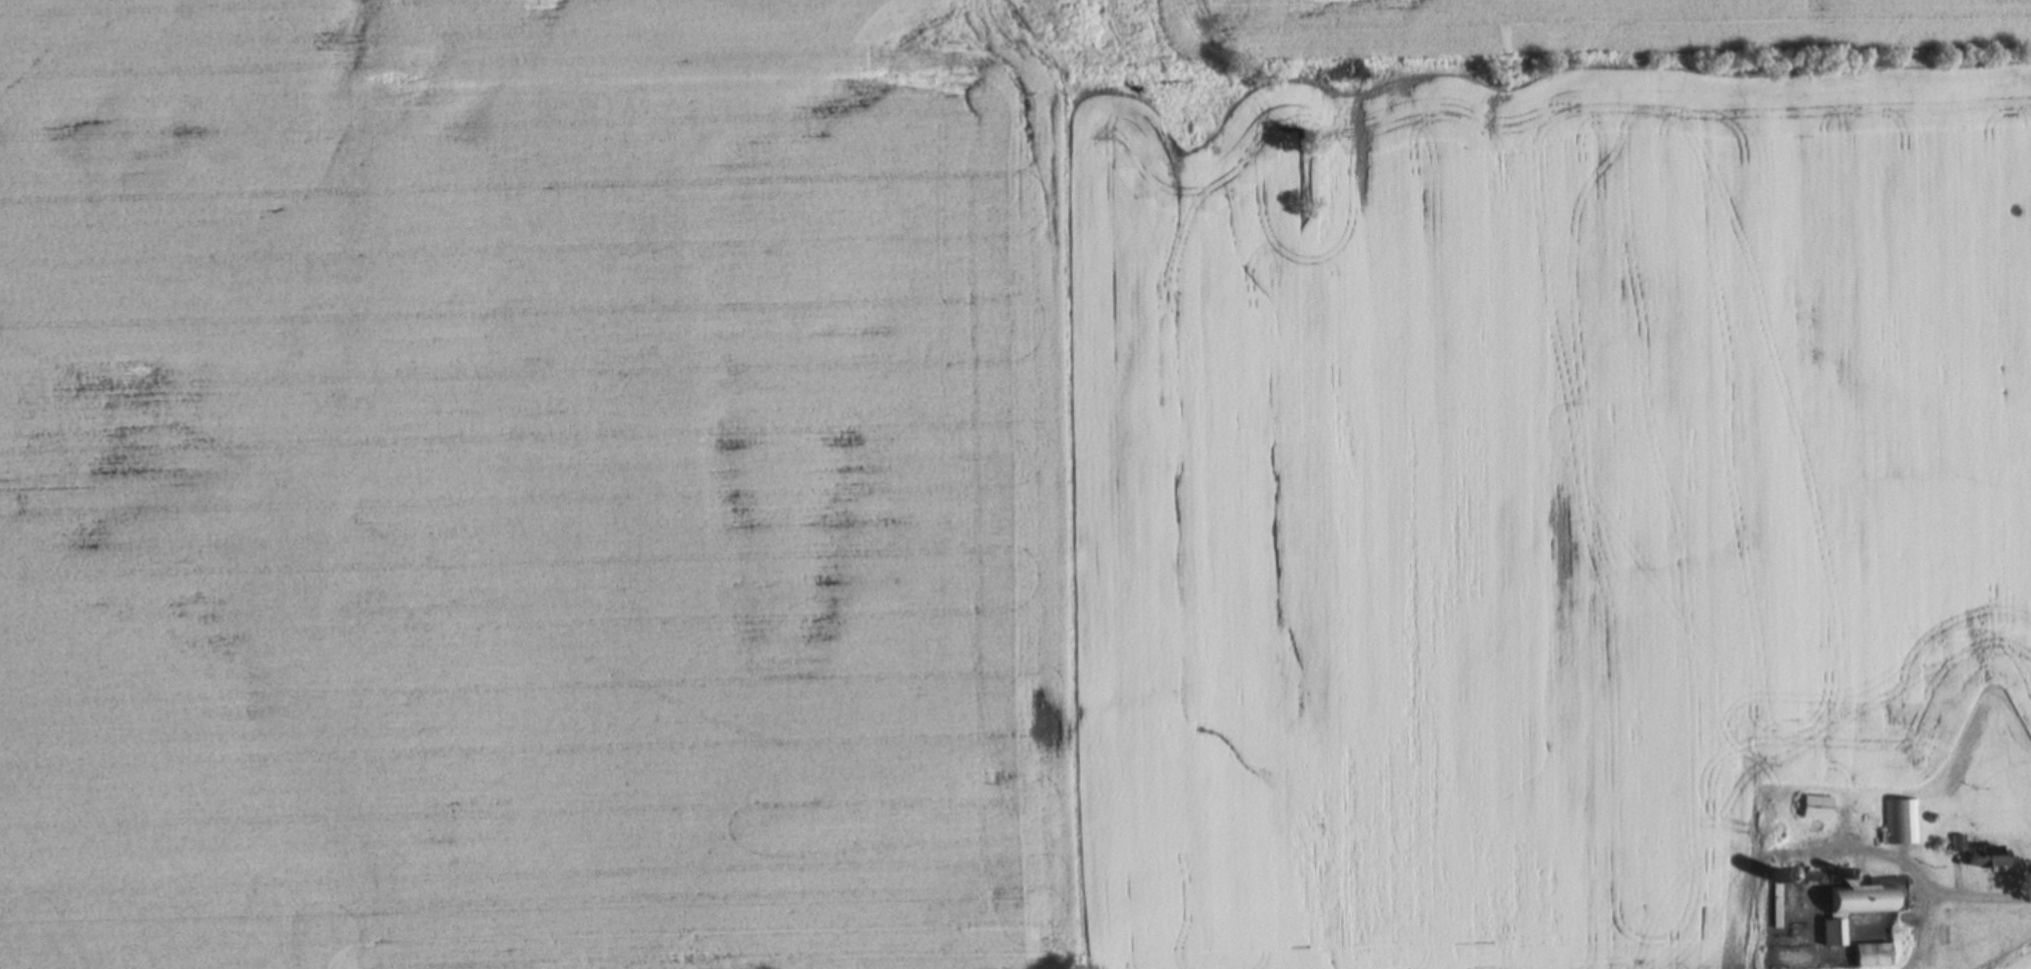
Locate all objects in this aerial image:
building: (1817, 806)
building: (1902, 821)
building: (1959, 841)
road: (1842, 847)
building: (1989, 855)
road: (1980, 894)
building: (1858, 902)
building: (1874, 953)

